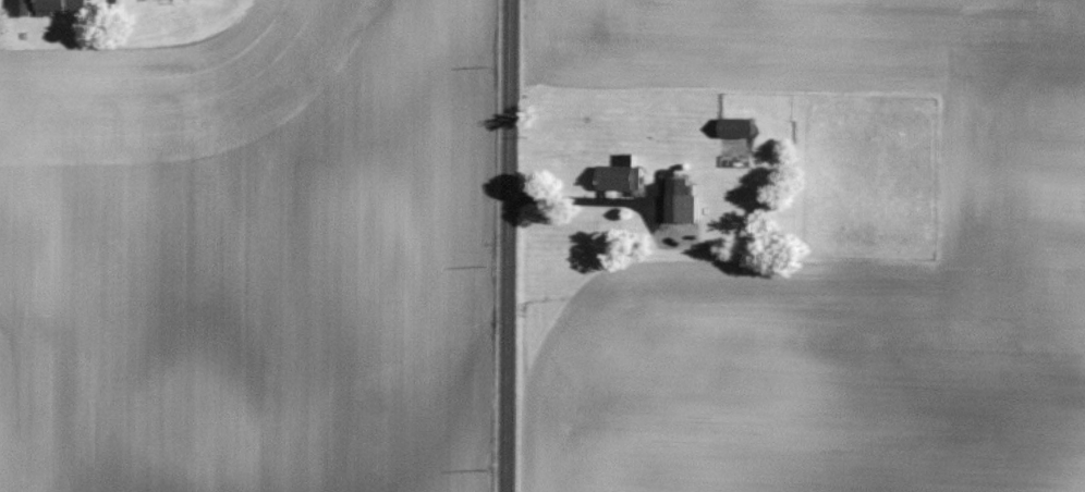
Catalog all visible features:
building: (54, 7)
building: (737, 128)
building: (622, 176)
road: (577, 200)
building: (682, 201)
road: (508, 245)

